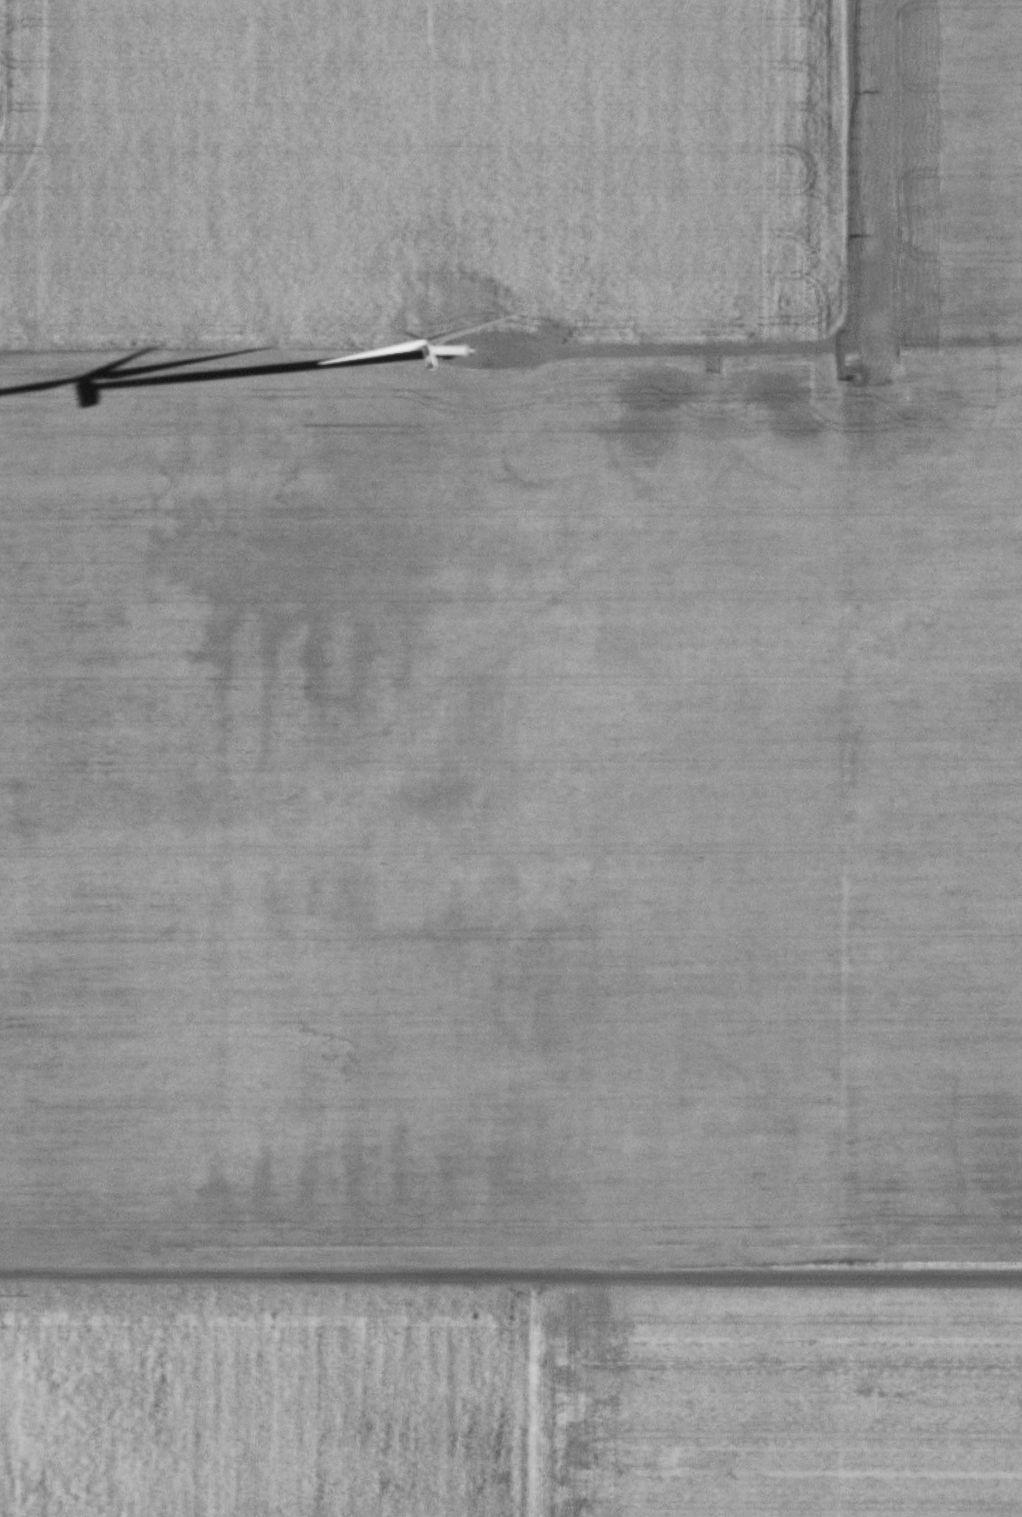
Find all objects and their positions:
road: (838, 322)
wind turbine: (462, 352)
road: (511, 1279)

